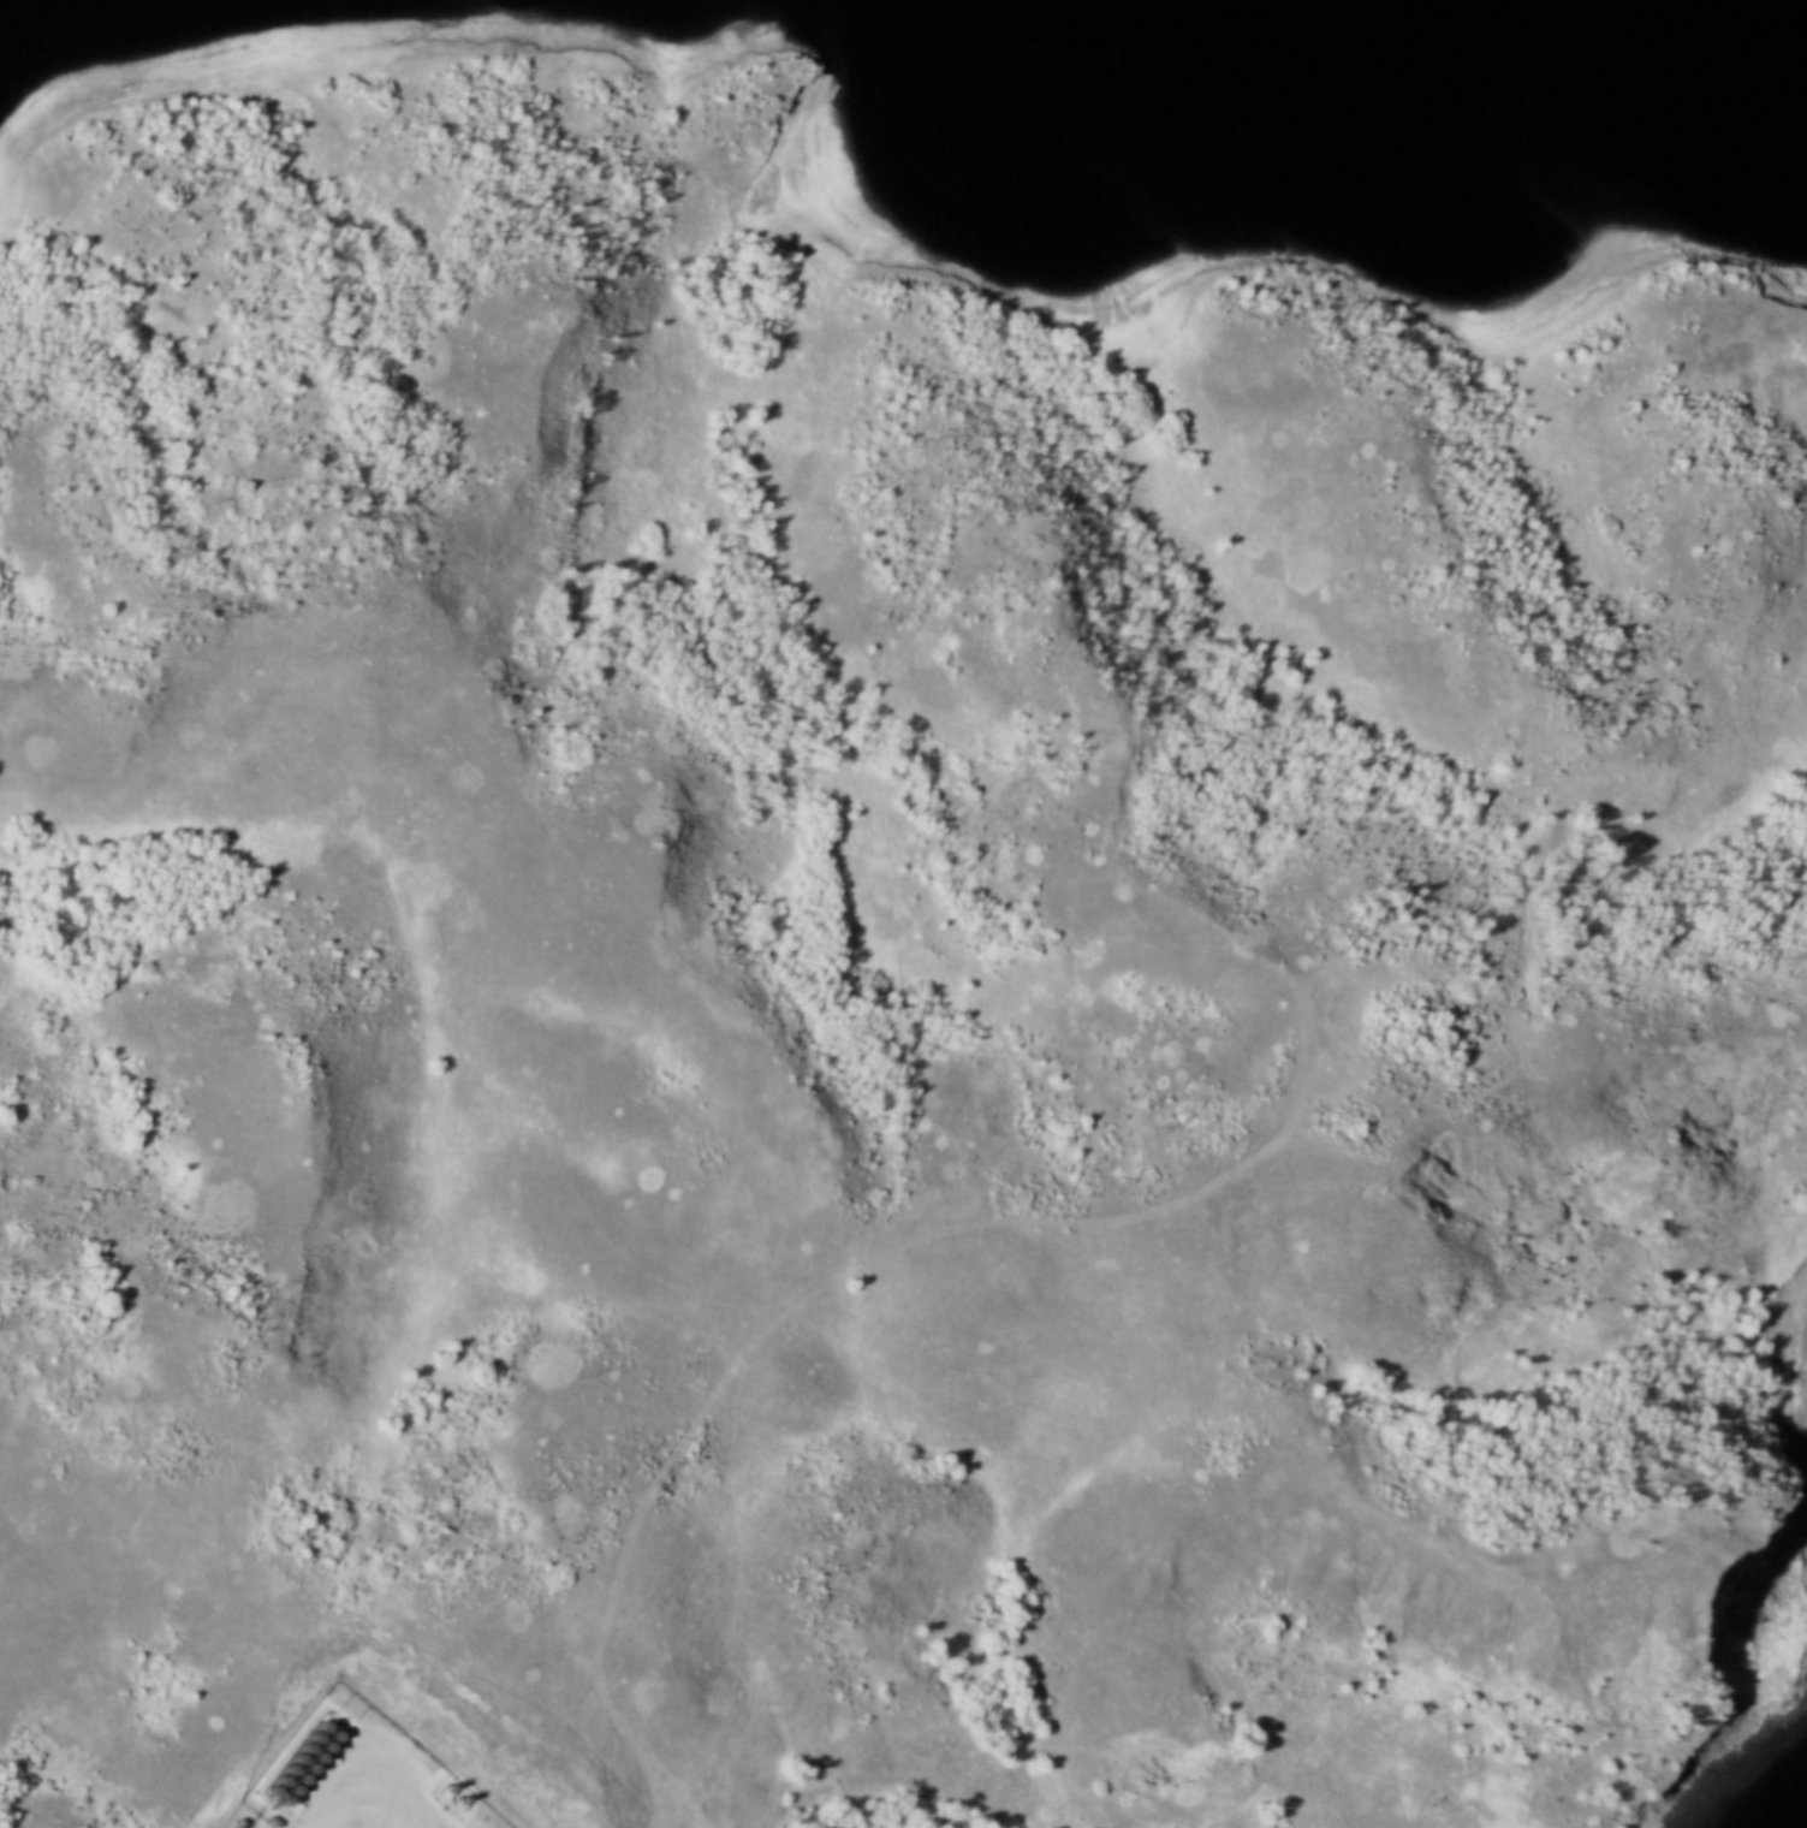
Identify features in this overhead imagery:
road: (777, 1331)
building: (323, 1721)
storage tank: (323, 1721)
building: (333, 1729)
storage tank: (333, 1729)
building: (314, 1733)
storage tank: (314, 1733)
building: (326, 1741)
storage tank: (326, 1741)
building: (307, 1744)
storage tank: (307, 1744)
building: (317, 1752)
storage tank: (317, 1752)
building: (297, 1755)
storage tank: (297, 1755)
building: (308, 1763)
storage tank: (308, 1763)
building: (289, 1765)
storage tank: (289, 1765)
building: (301, 1775)
storage tank: (301, 1775)
building: (281, 1777)
storage tank: (281, 1777)
building: (292, 1786)
storage tank: (292, 1786)
building: (272, 1788)
storage tank: (272, 1788)
building: (284, 1797)
storage tank: (284, 1797)

